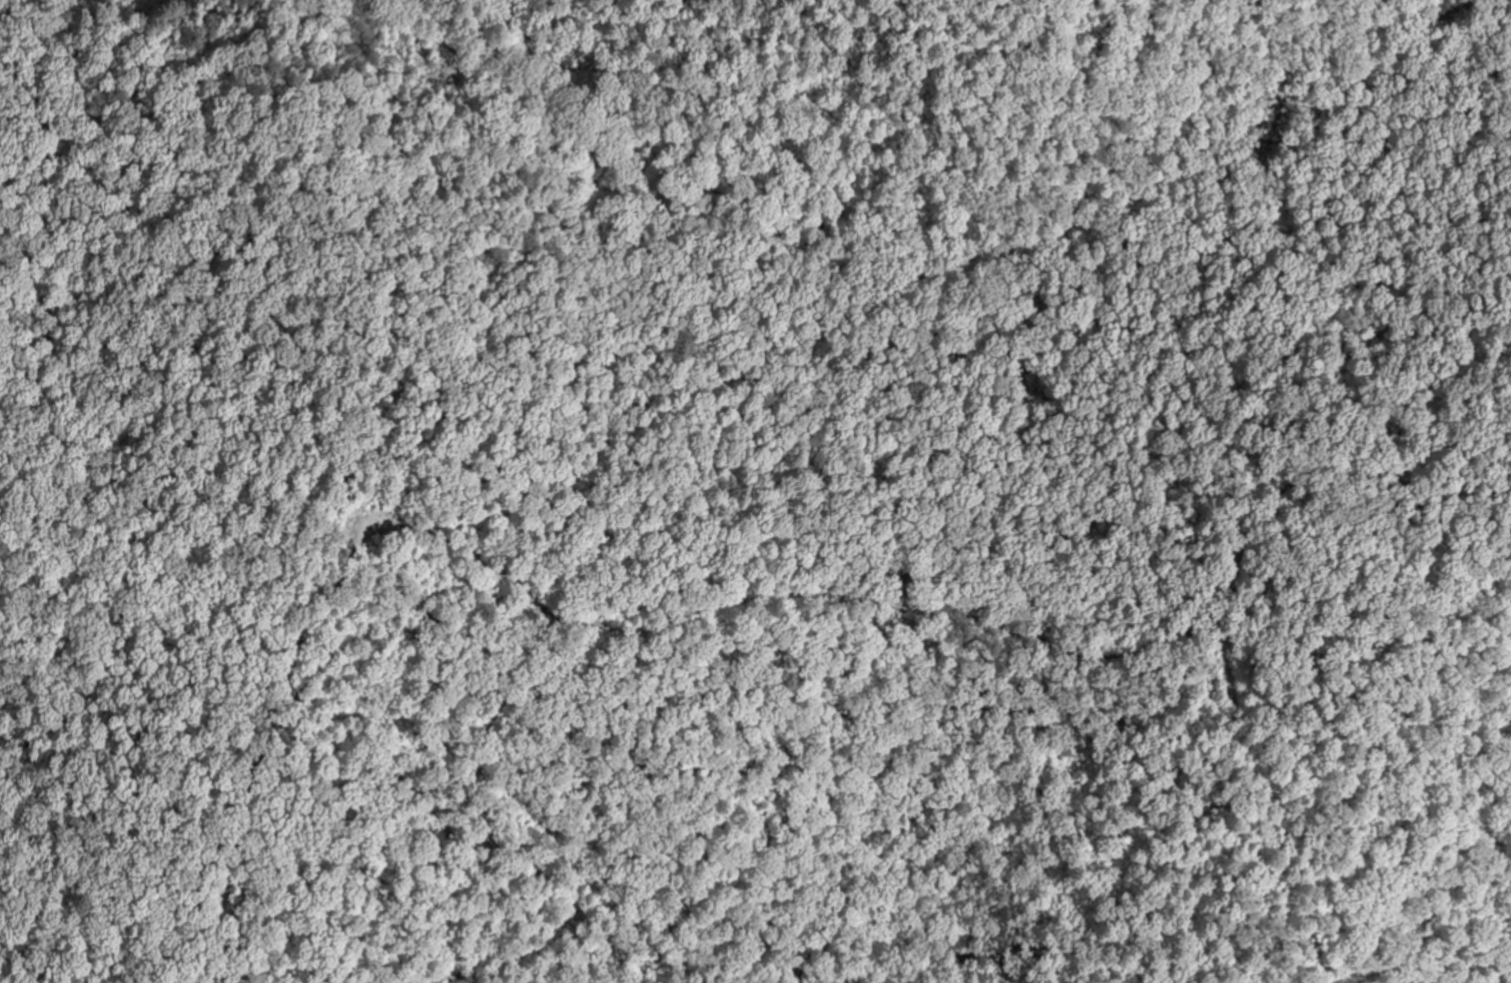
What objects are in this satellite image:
road: (762, 605)

